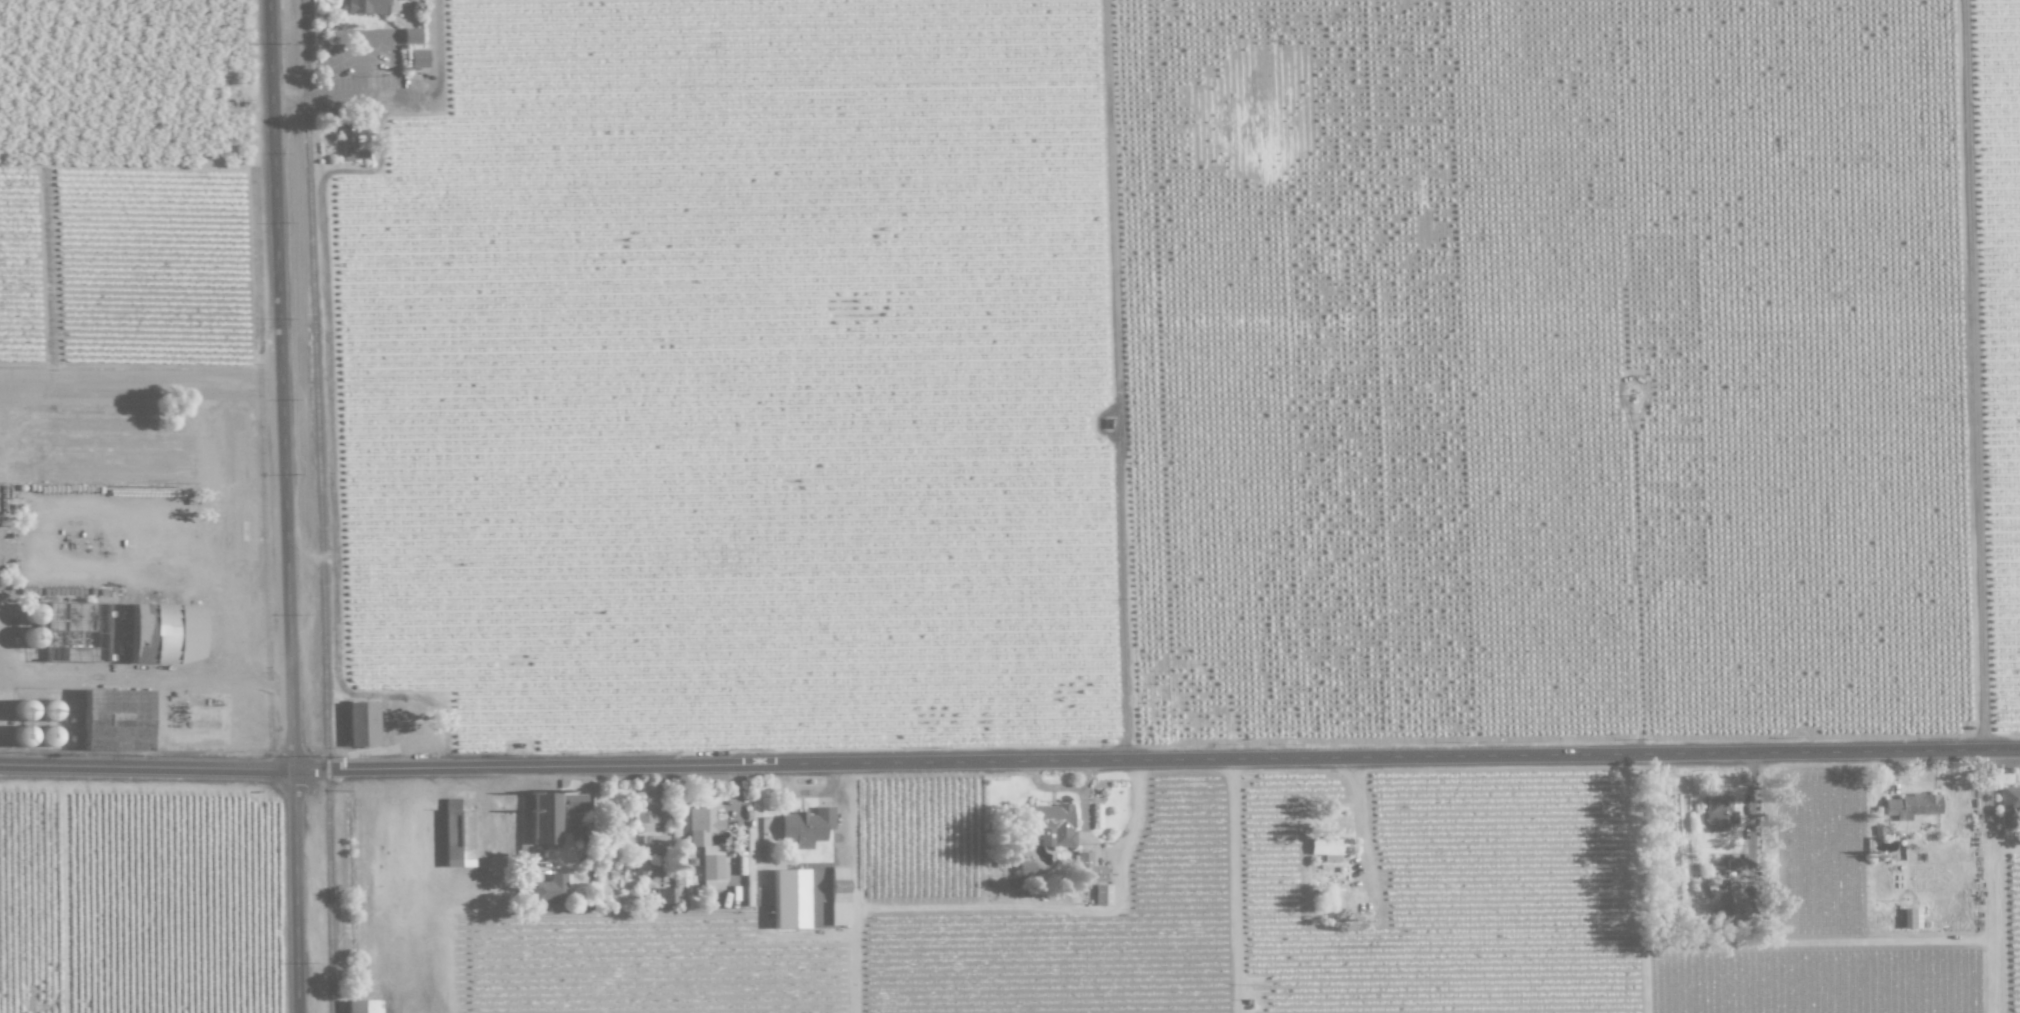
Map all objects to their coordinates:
building: (364, 6)
road: (359, 35)
building: (410, 35)
building: (417, 56)
road: (399, 63)
road: (363, 65)
road: (327, 72)
road: (338, 98)
building: (347, 144)
road: (286, 506)
road: (227, 568)
building: (166, 632)
road: (81, 679)
building: (361, 723)
building: (20, 735)
building: (43, 735)
road: (1009, 761)
building: (572, 803)
building: (1911, 805)
building: (2009, 807)
road: (1988, 812)
building: (1718, 813)
building: (545, 817)
building: (570, 824)
building: (1052, 825)
building: (805, 827)
road: (1364, 827)
building: (646, 829)
building: (458, 832)
building: (706, 845)
building: (1329, 848)
building: (1083, 857)
building: (1025, 868)
building: (684, 883)
building: (550, 889)
building: (664, 894)
building: (1101, 894)
building: (838, 895)
building: (788, 898)
building: (1736, 906)
building: (1910, 917)
road: (1989, 932)
building: (362, 1006)

